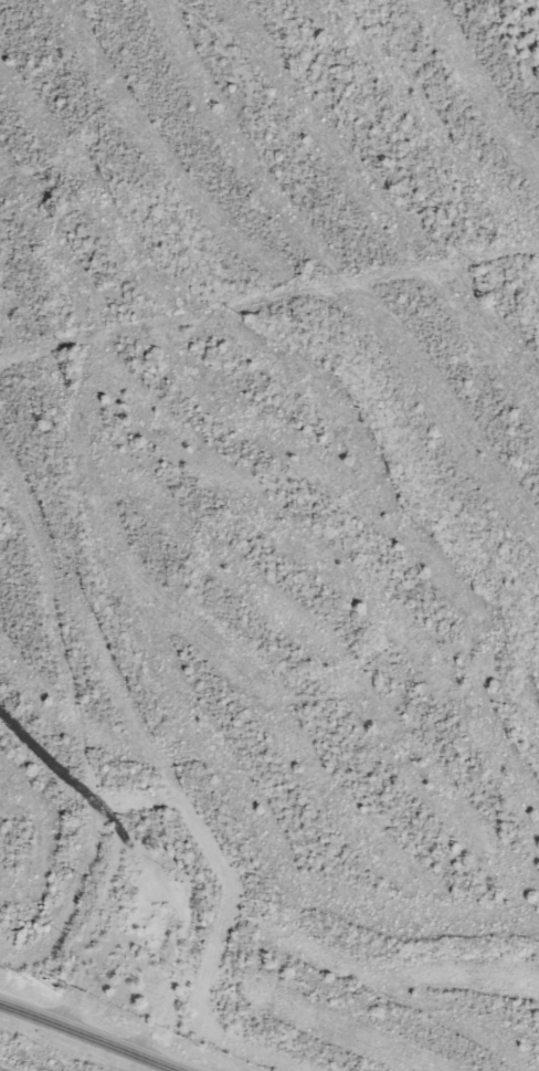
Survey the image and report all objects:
road: (94, 1036)
railway: (1, 1070)

